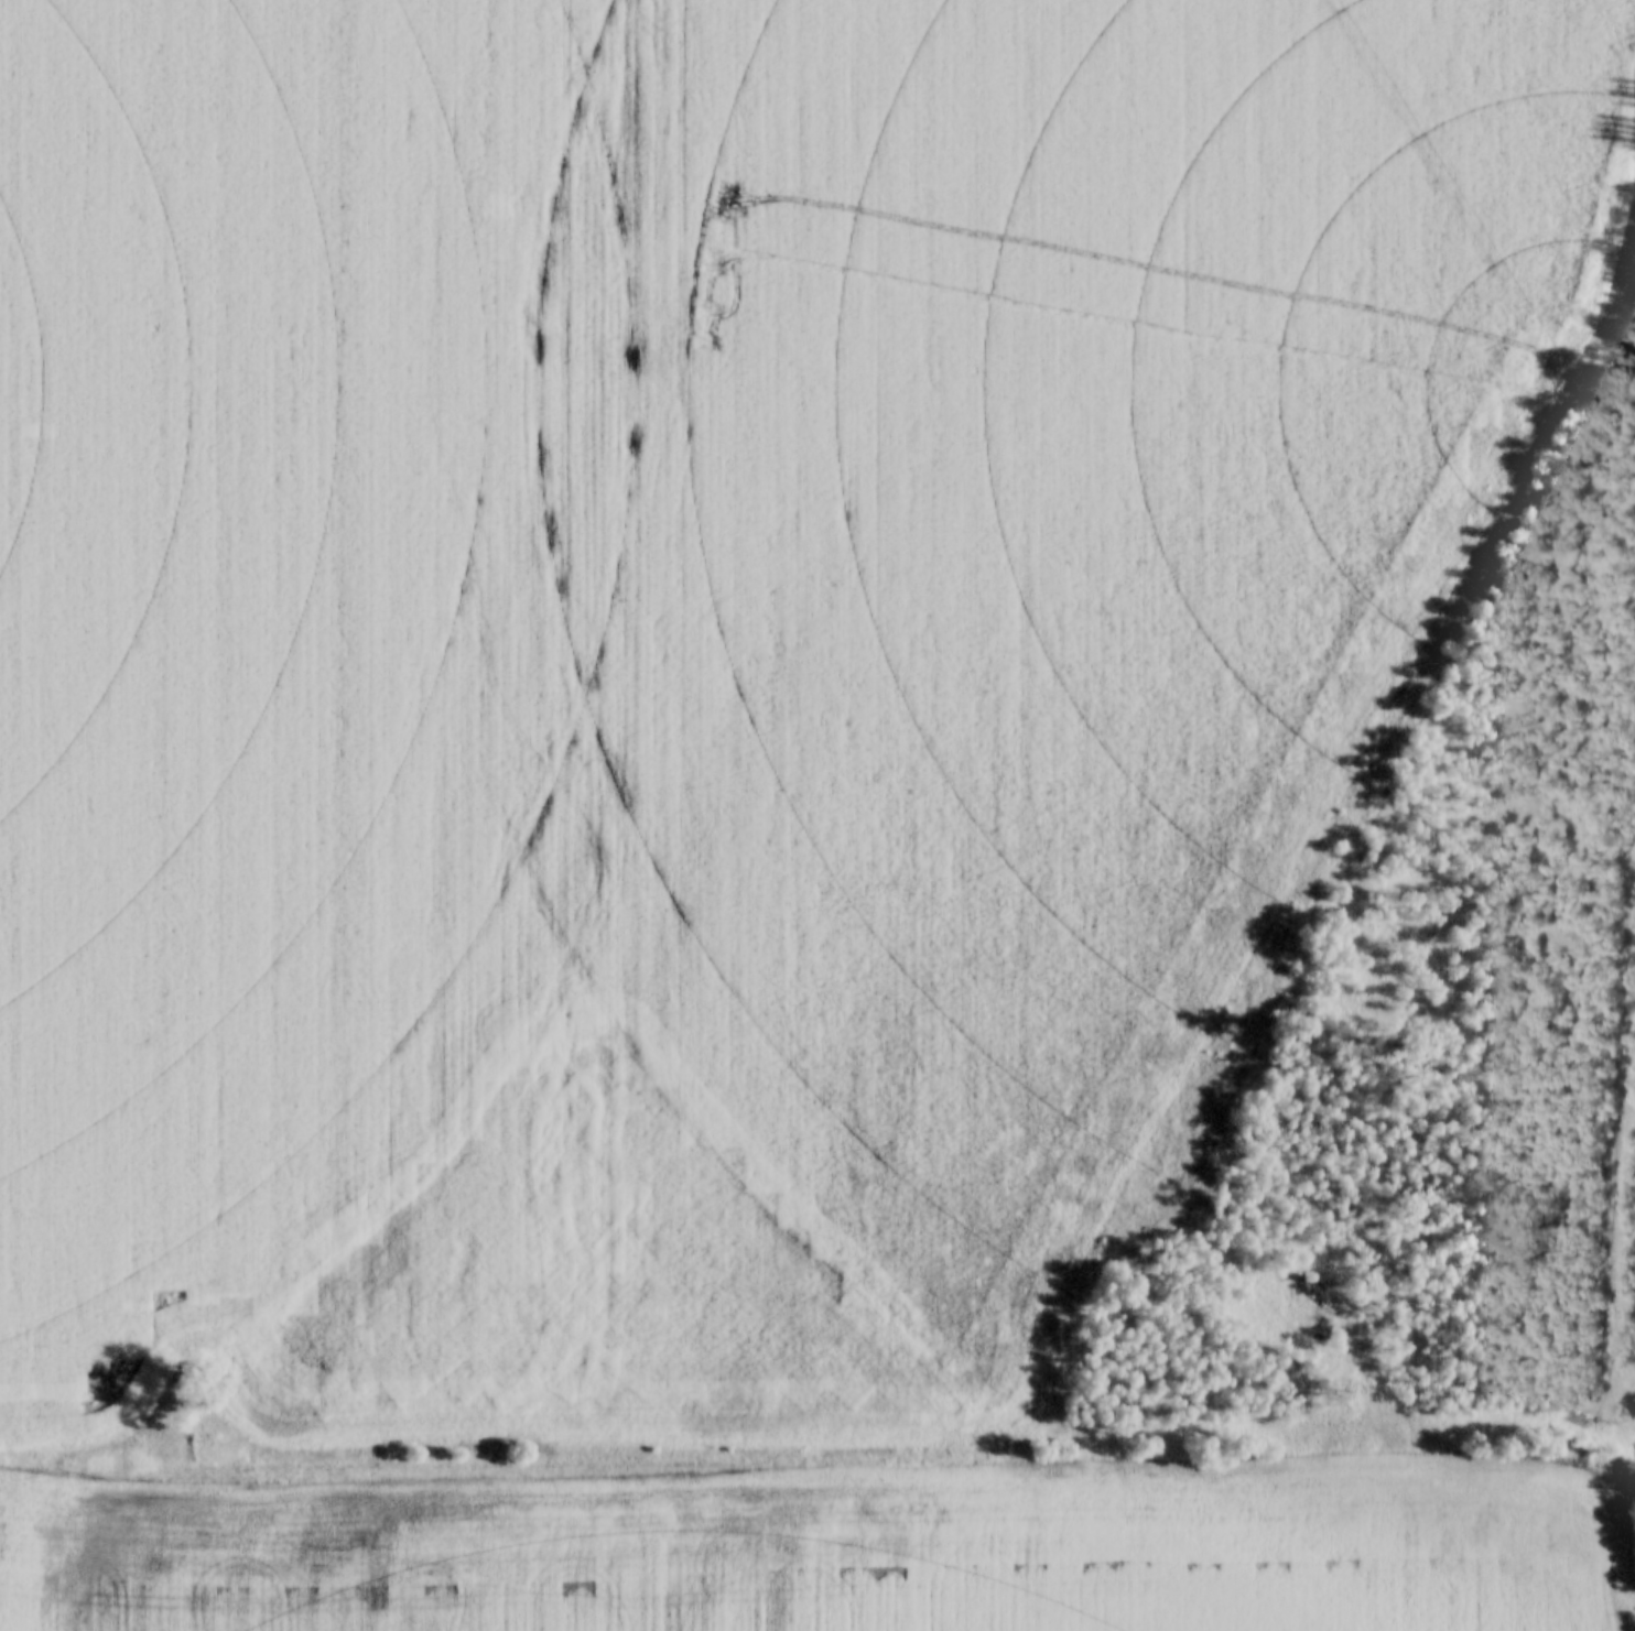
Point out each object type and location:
road: (1632, 276)

